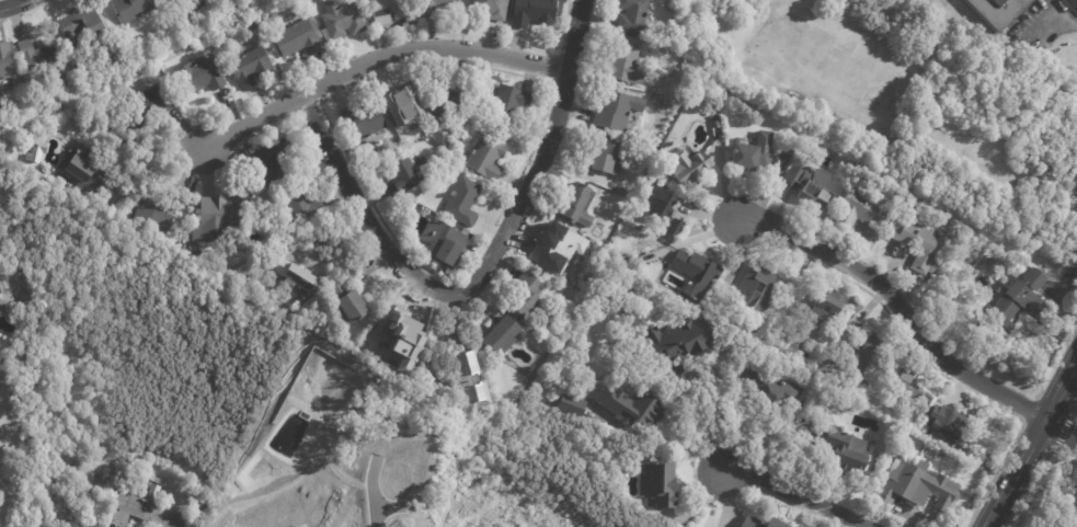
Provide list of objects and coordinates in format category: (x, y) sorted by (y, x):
building: (168, 0)
building: (1076, 0)
road: (8, 2)
building: (203, 2)
building: (438, 7)
building: (133, 9)
building: (492, 9)
building: (391, 10)
building: (999, 11)
building: (536, 12)
building: (633, 16)
road: (1063, 18)
building: (343, 20)
building: (83, 22)
building: (299, 37)
building: (38, 59)
building: (5, 61)
building: (627, 62)
road: (383, 67)
building: (252, 68)
building: (199, 77)
building: (151, 104)
building: (447, 104)
building: (509, 104)
building: (405, 108)
building: (618, 110)
building: (364, 122)
building: (718, 125)
building: (755, 153)
building: (488, 158)
building: (608, 159)
building: (268, 160)
road: (153, 165)
building: (688, 167)
building: (85, 169)
building: (404, 177)
building: (815, 185)
building: (183, 197)
building: (463, 202)
building: (302, 205)
building: (665, 206)
building: (578, 207)
building: (861, 209)
building: (156, 215)
building: (219, 221)
building: (678, 228)
building: (445, 243)
building: (920, 245)
building: (558, 253)
road: (483, 271)
building: (699, 274)
building: (298, 275)
building: (253, 285)
building: (0, 286)
building: (758, 291)
building: (530, 294)
building: (1, 297)
building: (1019, 298)
road: (896, 301)
building: (352, 302)
building: (824, 307)
building: (411, 335)
building: (503, 337)
building: (684, 342)
building: (860, 351)
building: (471, 379)
building: (909, 385)
building: (774, 390)
building: (641, 402)
building: (573, 405)
building: (953, 425)
road: (1059, 427)
road: (1030, 440)
building: (843, 451)
building: (661, 484)
building: (921, 488)
road: (792, 491)
building: (154, 493)
building: (1073, 497)
road: (374, 502)
building: (142, 513)
building: (764, 523)
building: (1068, 524)

